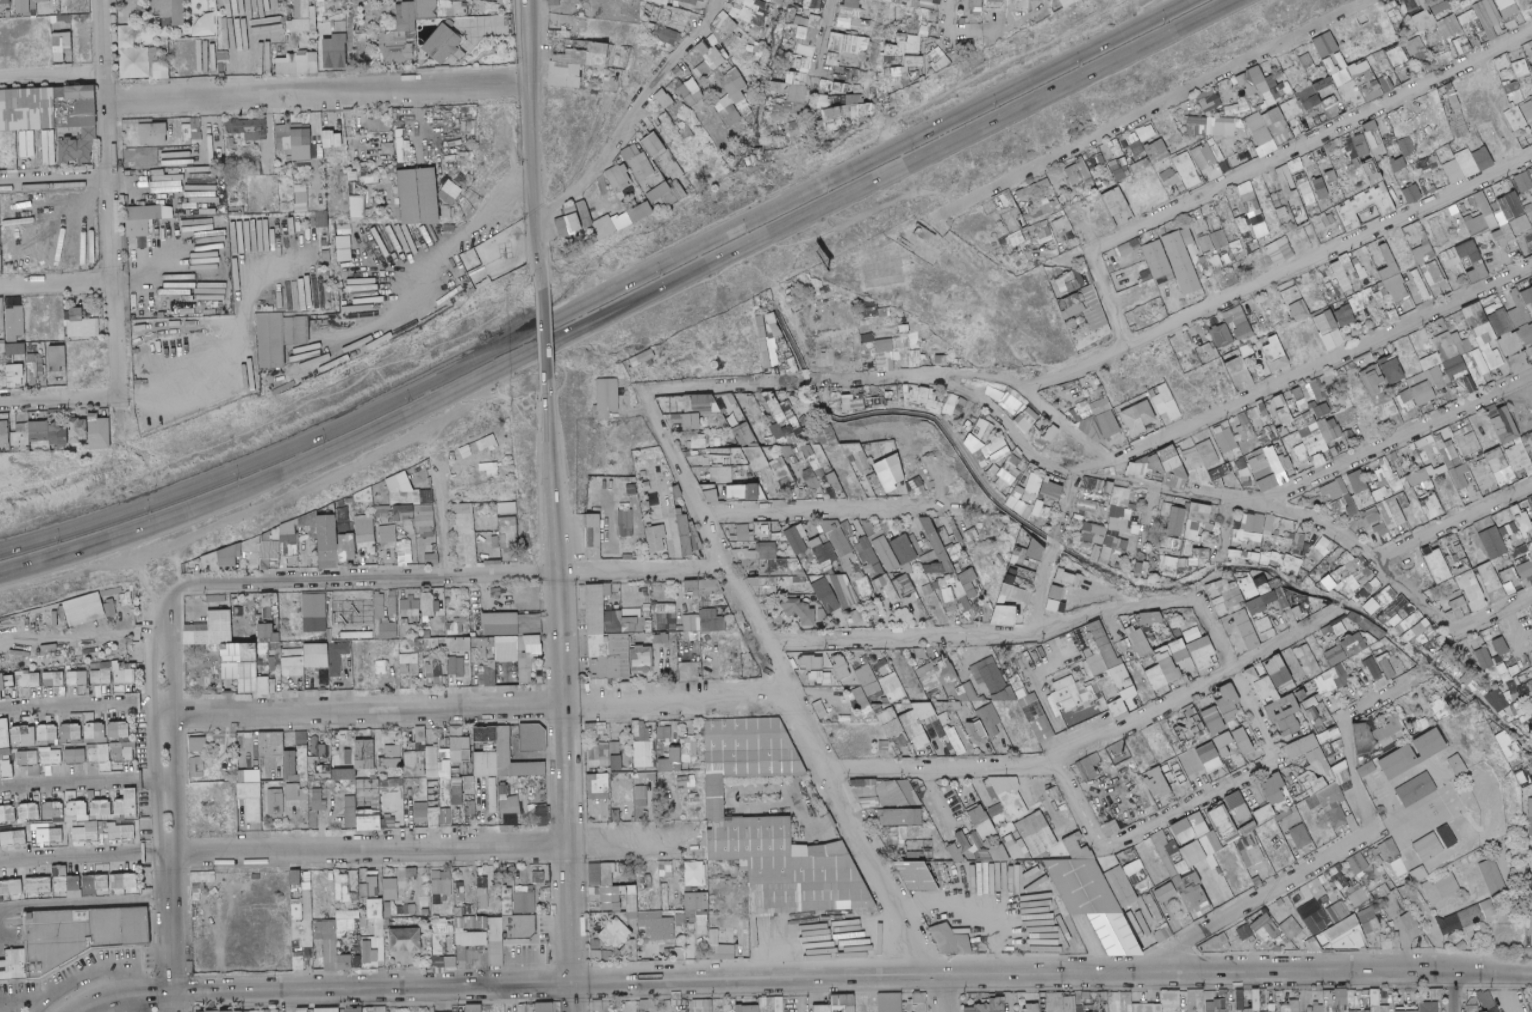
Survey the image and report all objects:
road: (532, 143)

